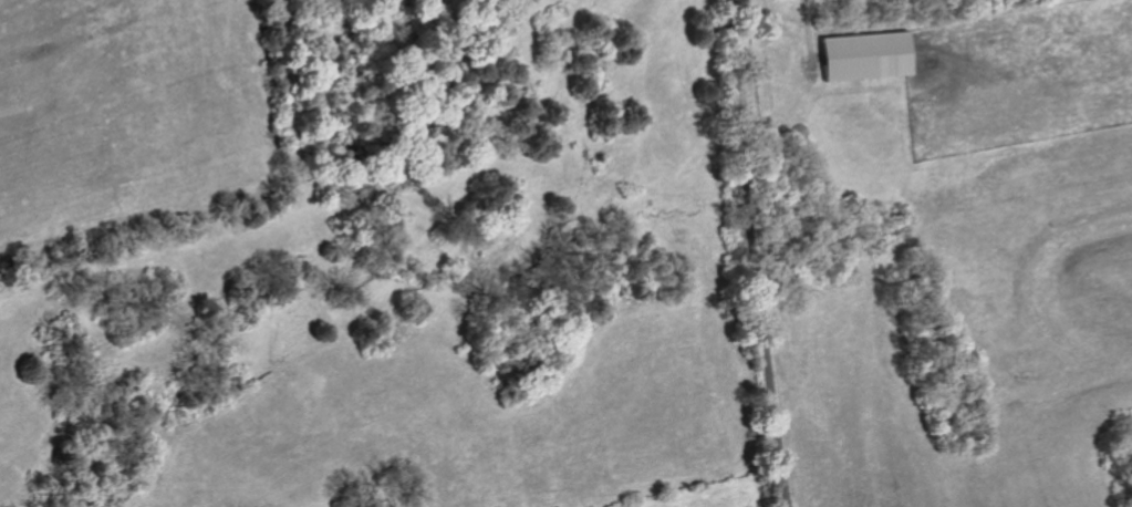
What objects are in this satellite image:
building: (861, 56)
road: (751, 253)

